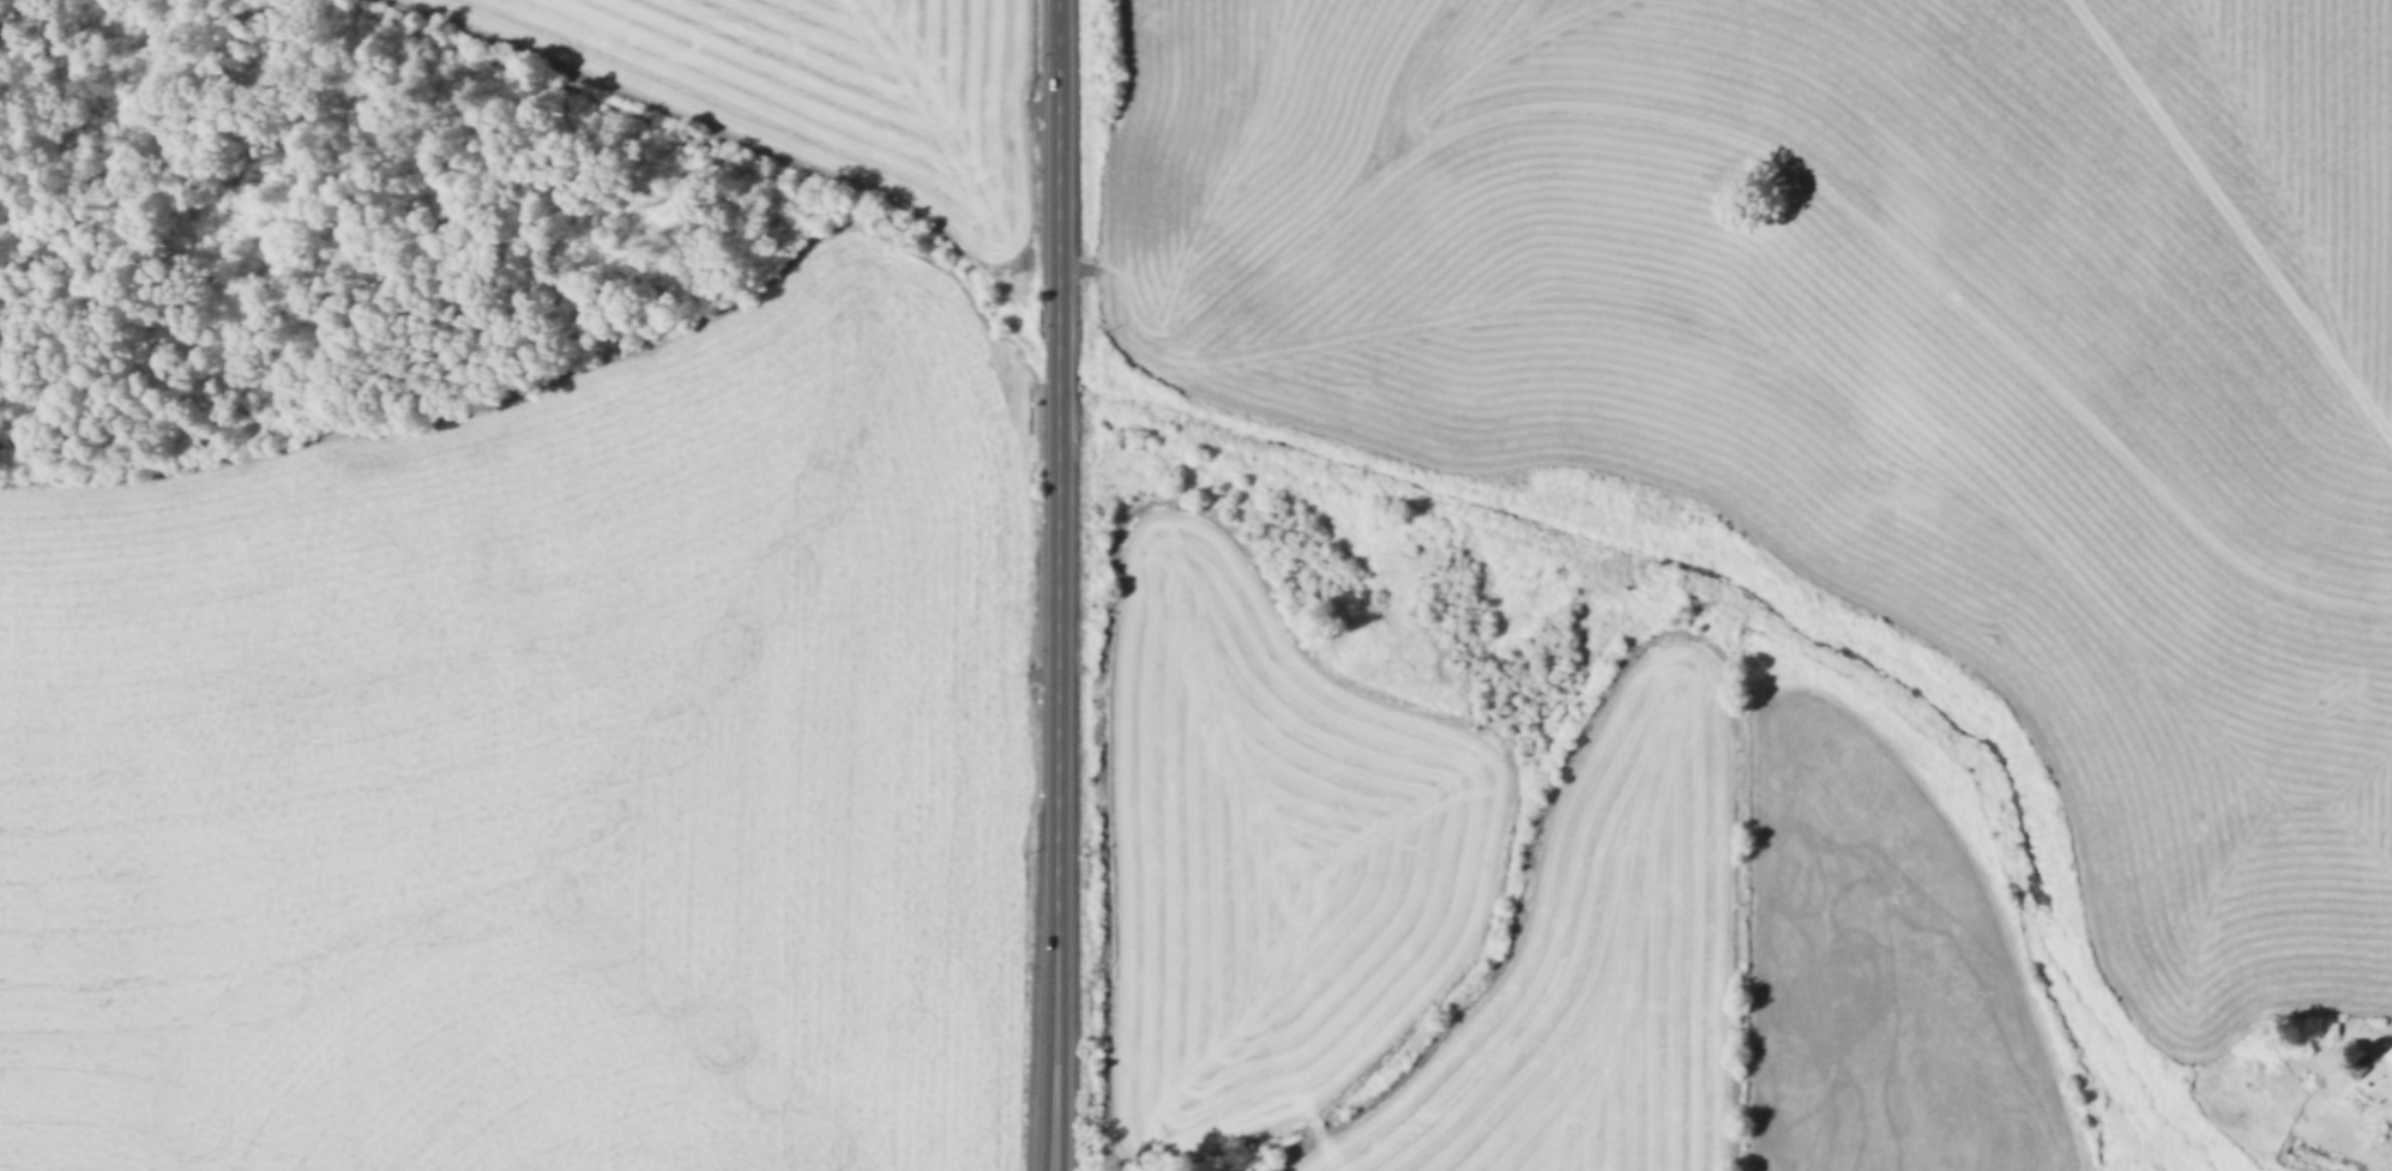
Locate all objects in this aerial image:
crop: (864, 79)
crop: (1875, 361)
road: (1058, 585)
crop: (532, 769)
building: (2391, 1055)

